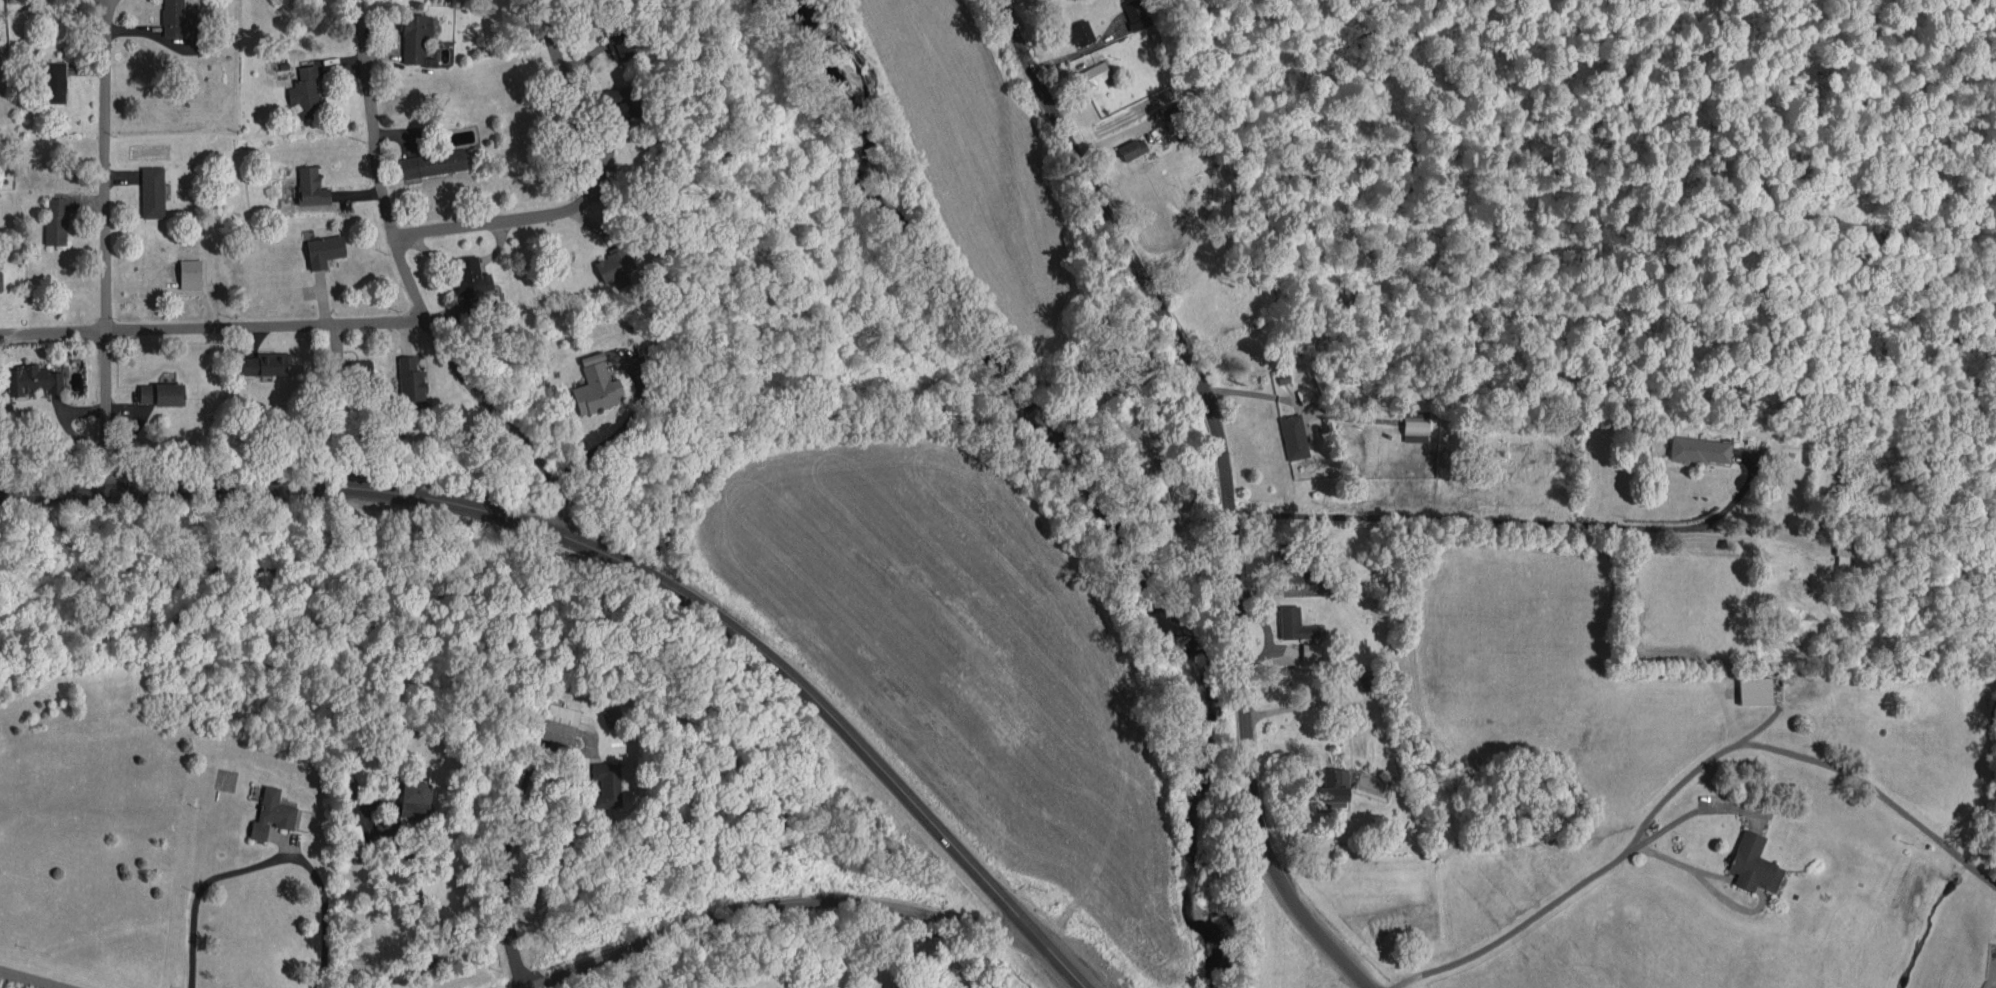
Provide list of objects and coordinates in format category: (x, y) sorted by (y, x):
building: (1133, 12)
building: (176, 19)
road: (363, 24)
building: (1079, 30)
building: (617, 44)
road: (1075, 48)
building: (1091, 71)
building: (52, 79)
building: (306, 91)
building: (619, 97)
building: (1130, 145)
building: (431, 161)
building: (308, 184)
building: (149, 189)
road: (588, 193)
building: (53, 219)
road: (106, 247)
building: (322, 248)
building: (612, 263)
building: (187, 271)
building: (469, 279)
road: (424, 311)
road: (214, 329)
building: (264, 361)
building: (30, 377)
building: (407, 377)
building: (593, 383)
building: (159, 391)
road: (1244, 391)
building: (1413, 426)
road: (617, 432)
building: (1291, 434)
building: (1698, 447)
road: (1222, 485)
road: (1503, 525)
road: (1749, 529)
road: (623, 562)
building: (1292, 621)
road: (1308, 707)
building: (556, 721)
road: (1811, 760)
building: (1333, 783)
building: (268, 810)
building: (1748, 858)
road: (1676, 859)
road: (263, 860)
road: (504, 879)
road: (420, 898)
road: (779, 903)
road: (1515, 924)
road: (32, 978)
road: (1991, 984)

